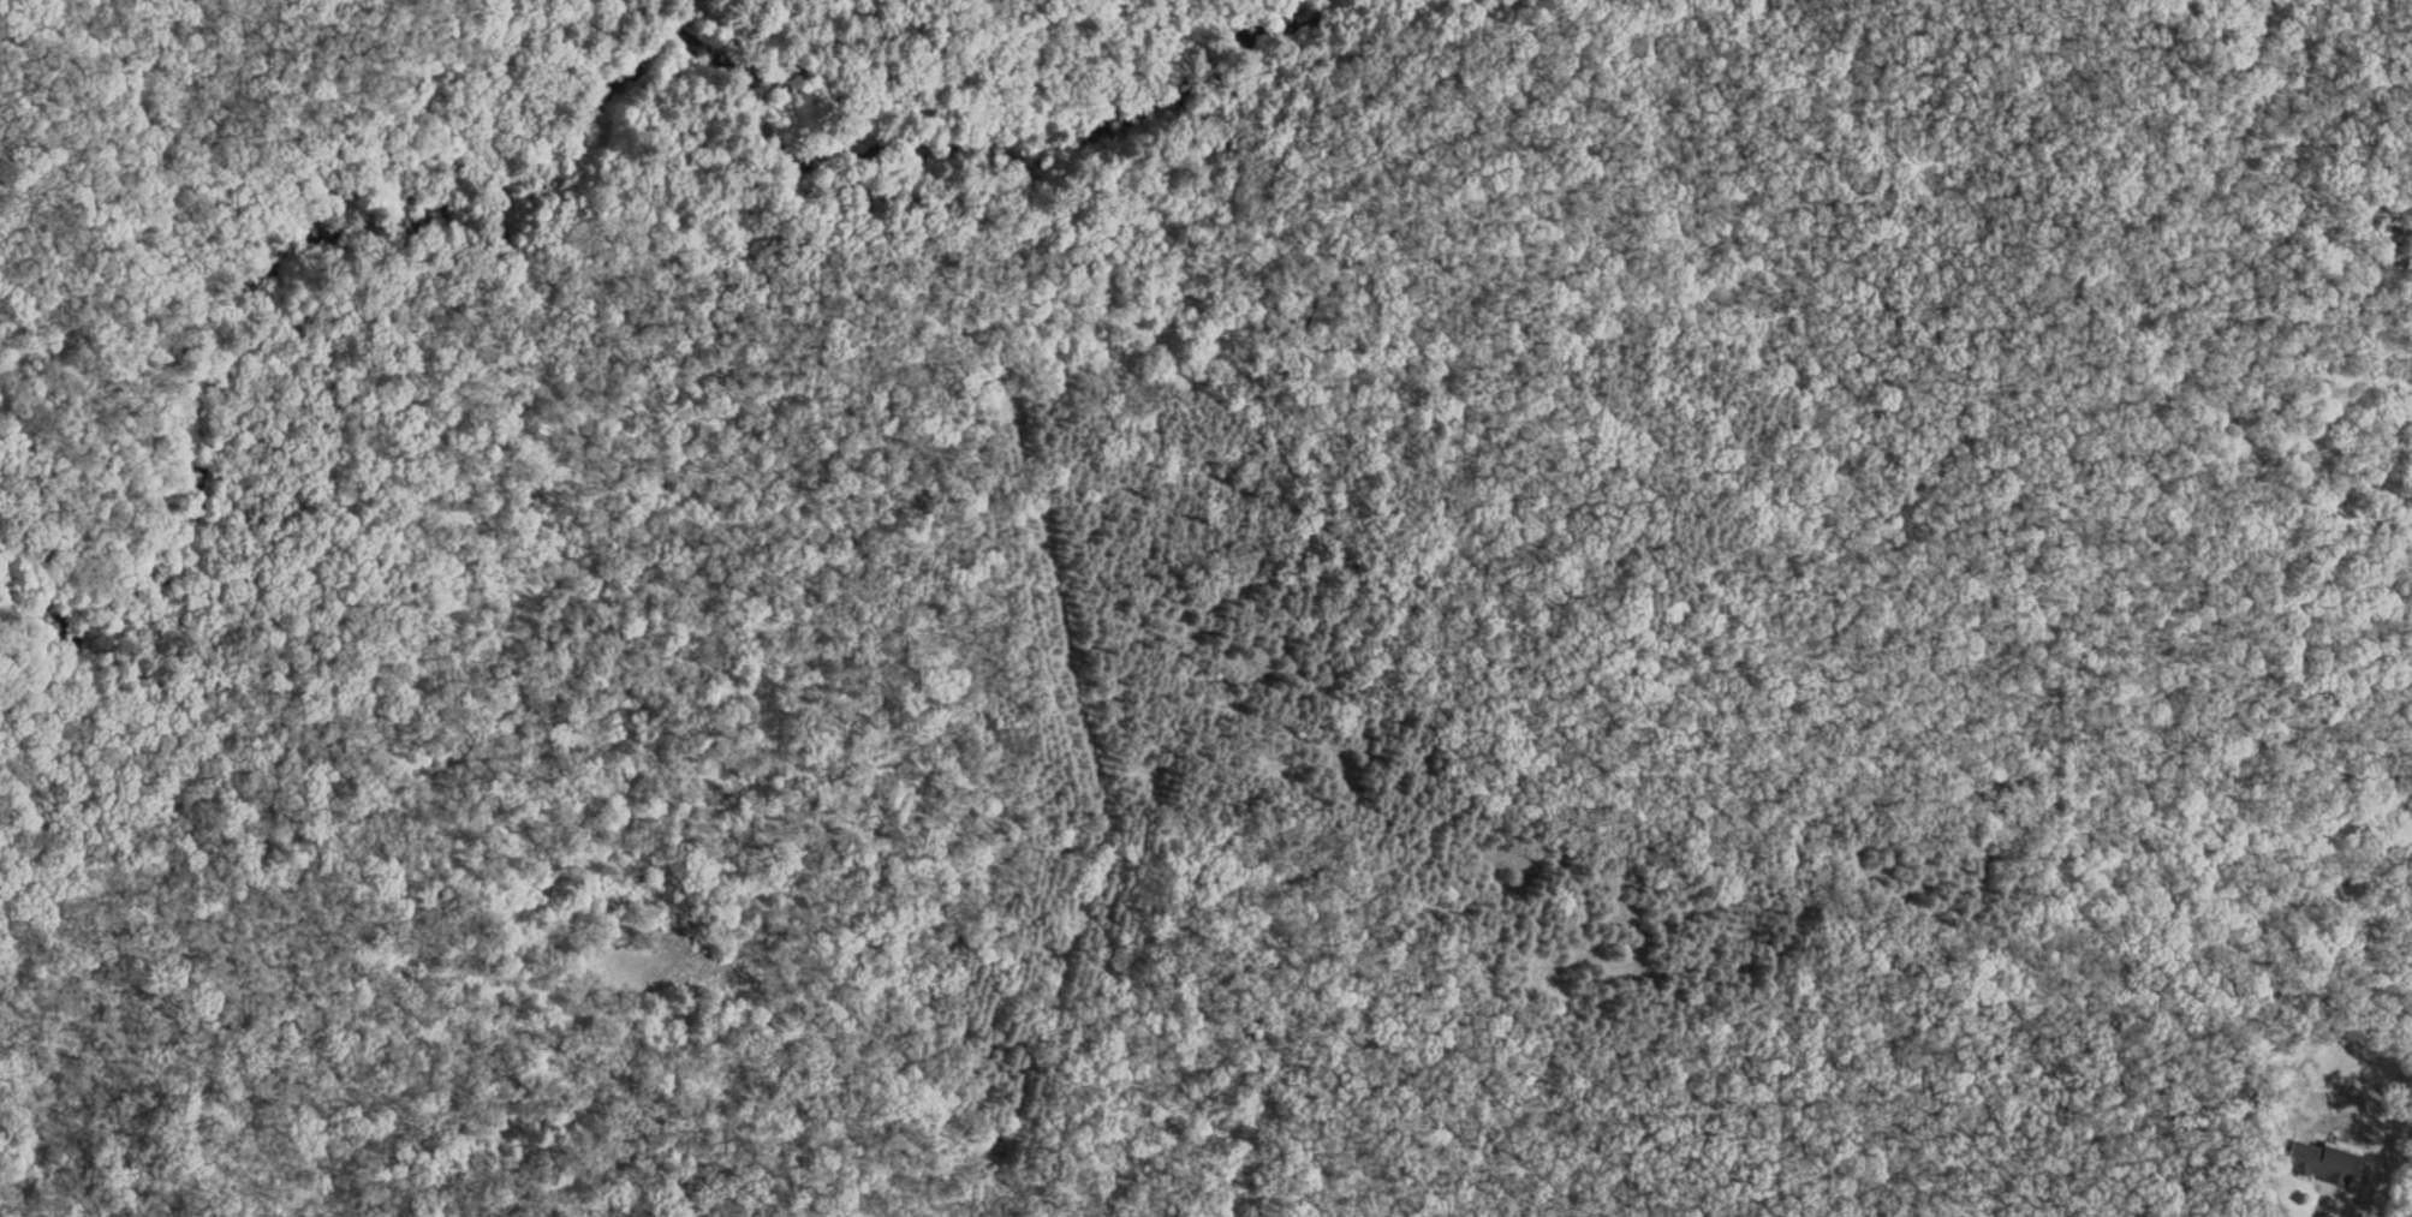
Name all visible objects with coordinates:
building: (2313, 1167)
road: (2323, 1204)

